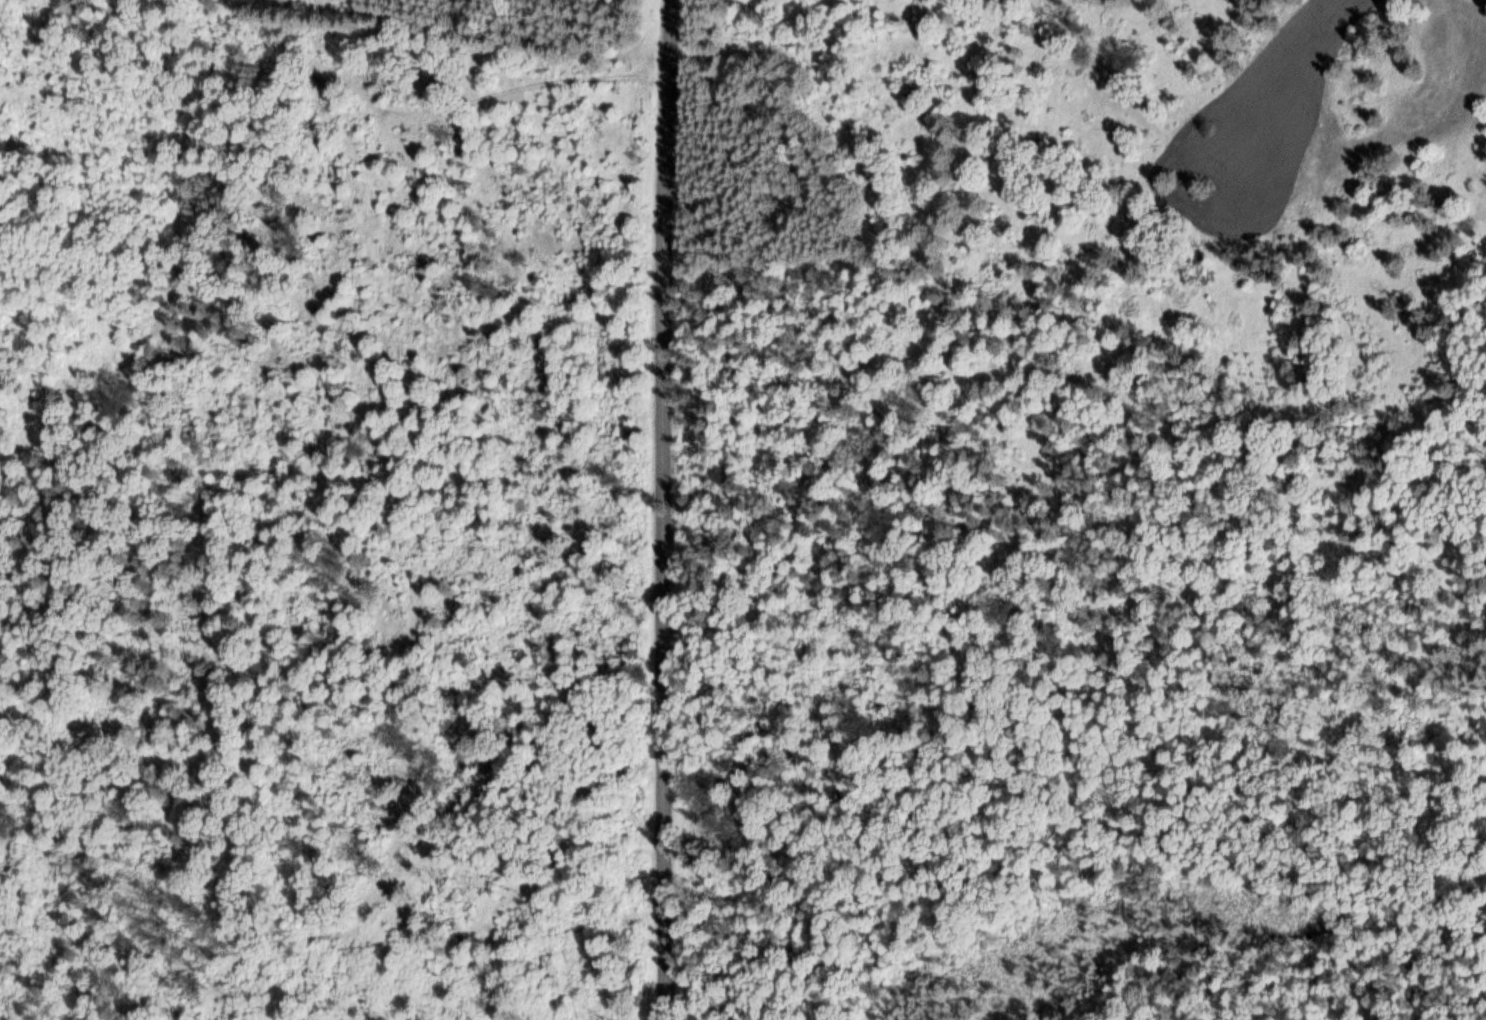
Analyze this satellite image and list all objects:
road: (673, 510)

